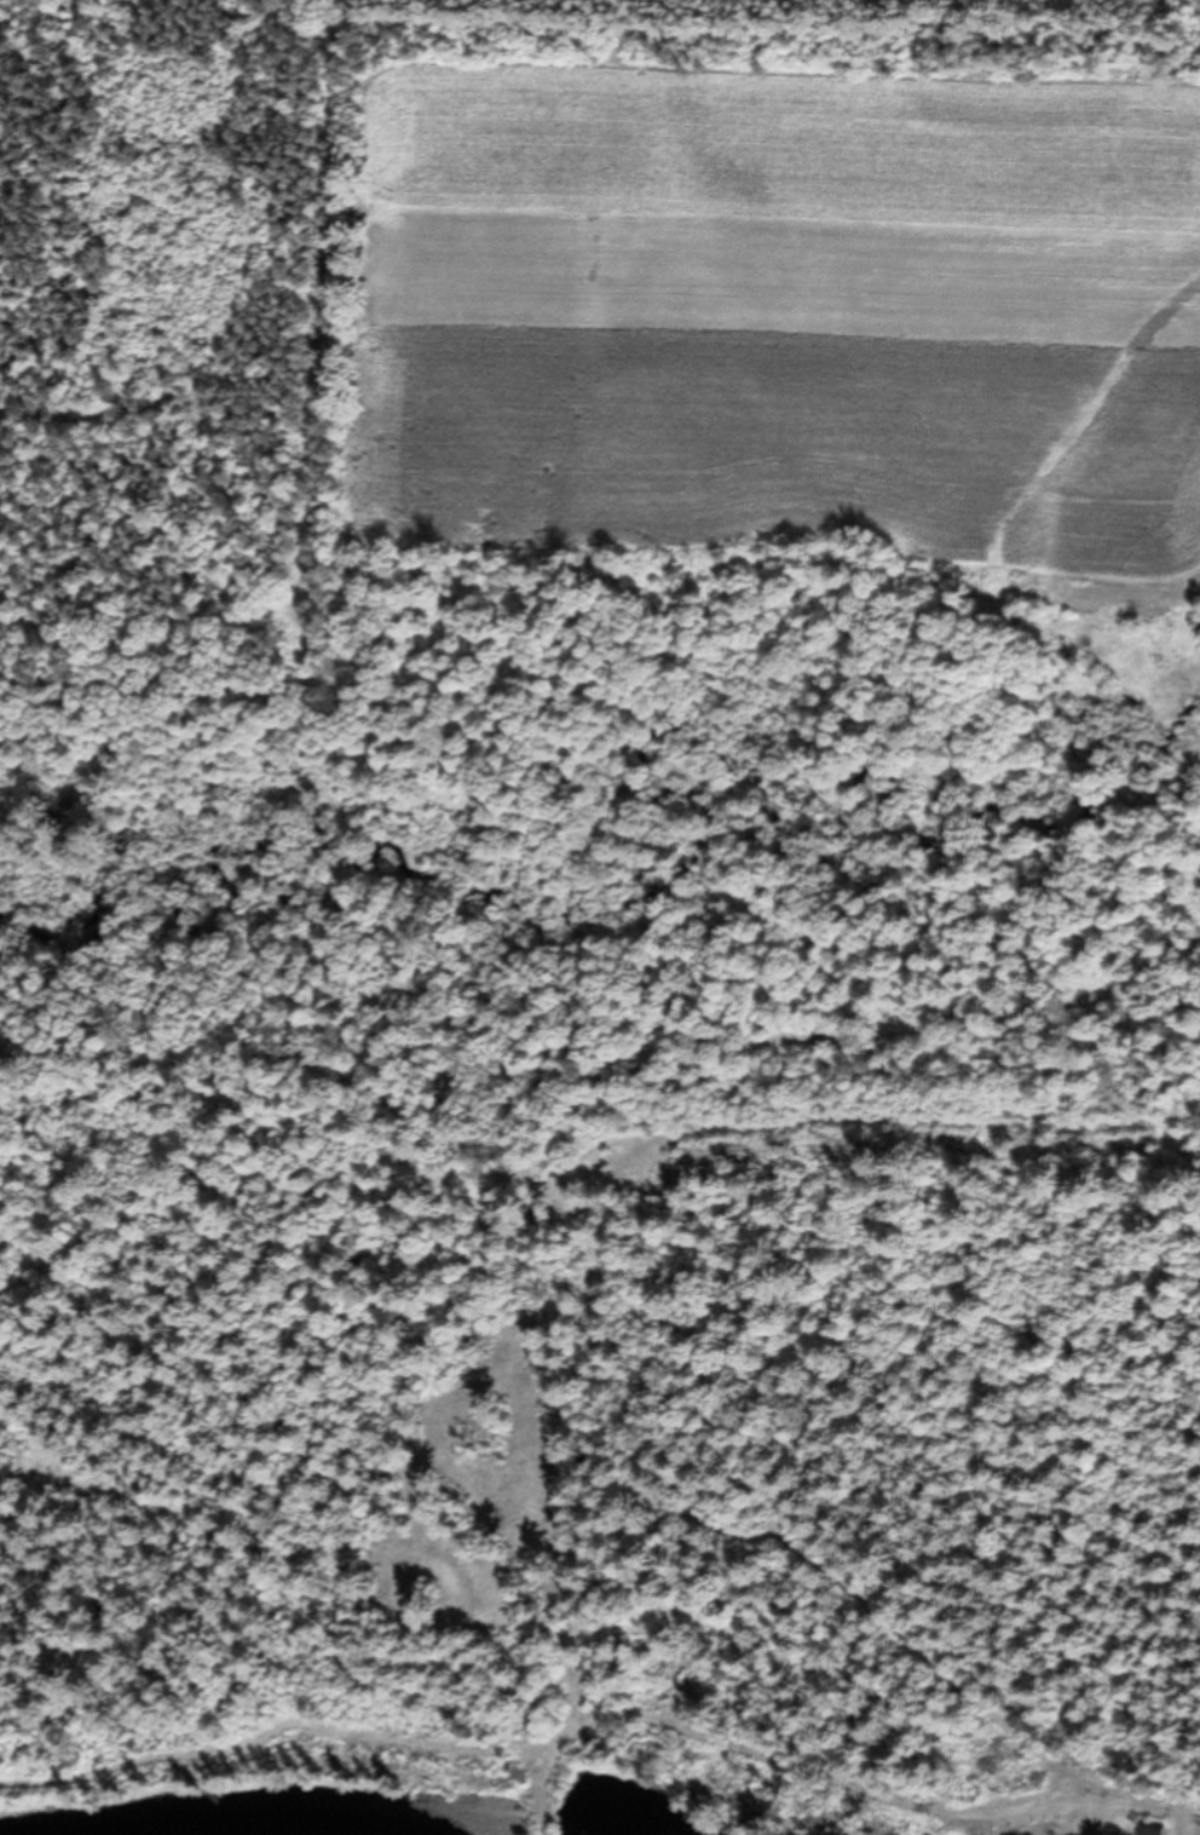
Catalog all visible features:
road: (769, 1777)
building: (1141, 1831)
road: (1170, 1833)

